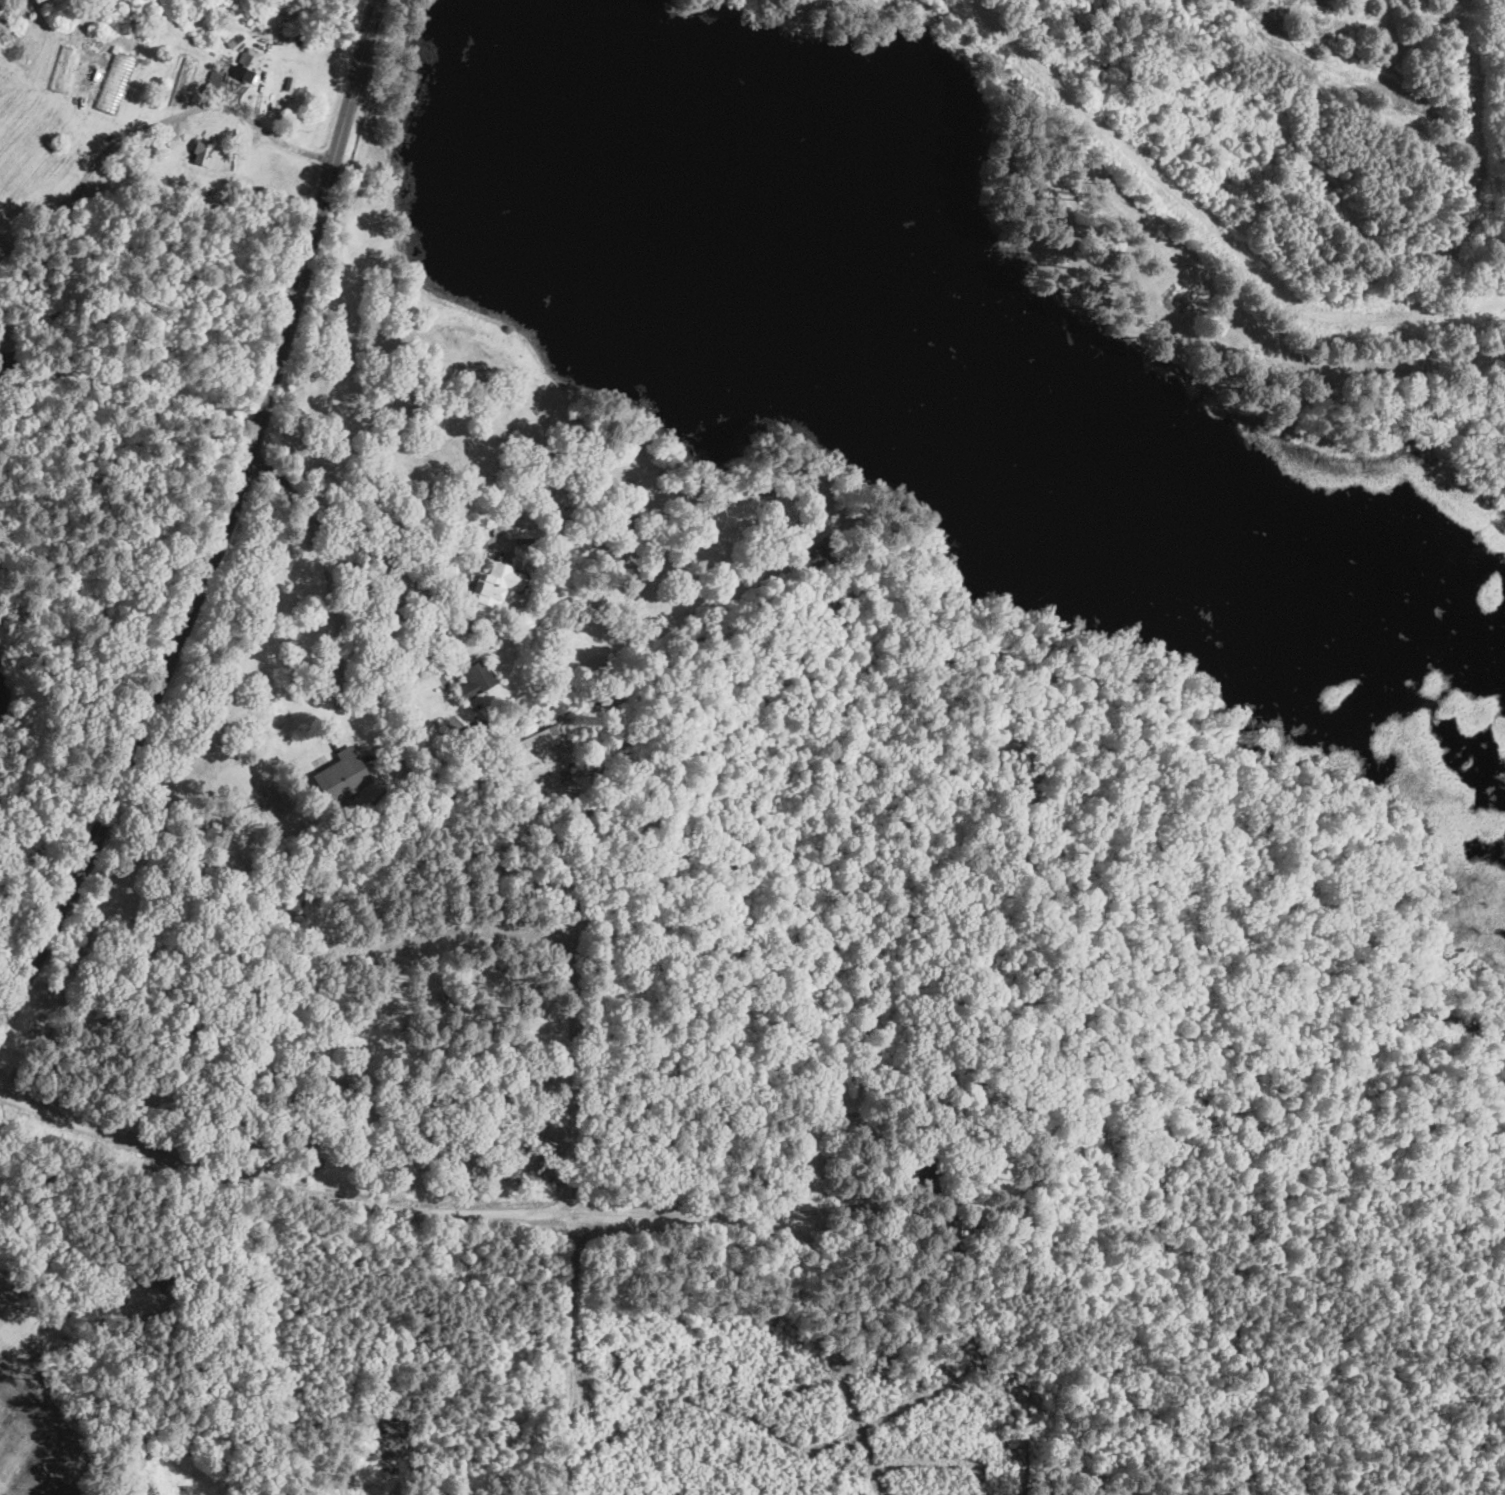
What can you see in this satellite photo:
building: (1196, 11)
building: (257, 26)
building: (193, 35)
building: (235, 42)
building: (247, 66)
building: (1105, 66)
building: (117, 81)
building: (290, 84)
building: (215, 87)
road: (227, 117)
building: (201, 151)
building: (8, 362)
building: (739, 454)
building: (706, 476)
building: (623, 486)
building: (451, 507)
road: (226, 523)
building: (519, 530)
building: (511, 532)
road: (375, 534)
building: (824, 554)
building: (493, 592)
road: (402, 614)
building: (476, 679)
building: (561, 719)
building: (476, 730)
building: (456, 737)
building: (532, 746)
building: (341, 776)
building: (929, 1164)
building: (962, 1209)
building: (959, 1235)

